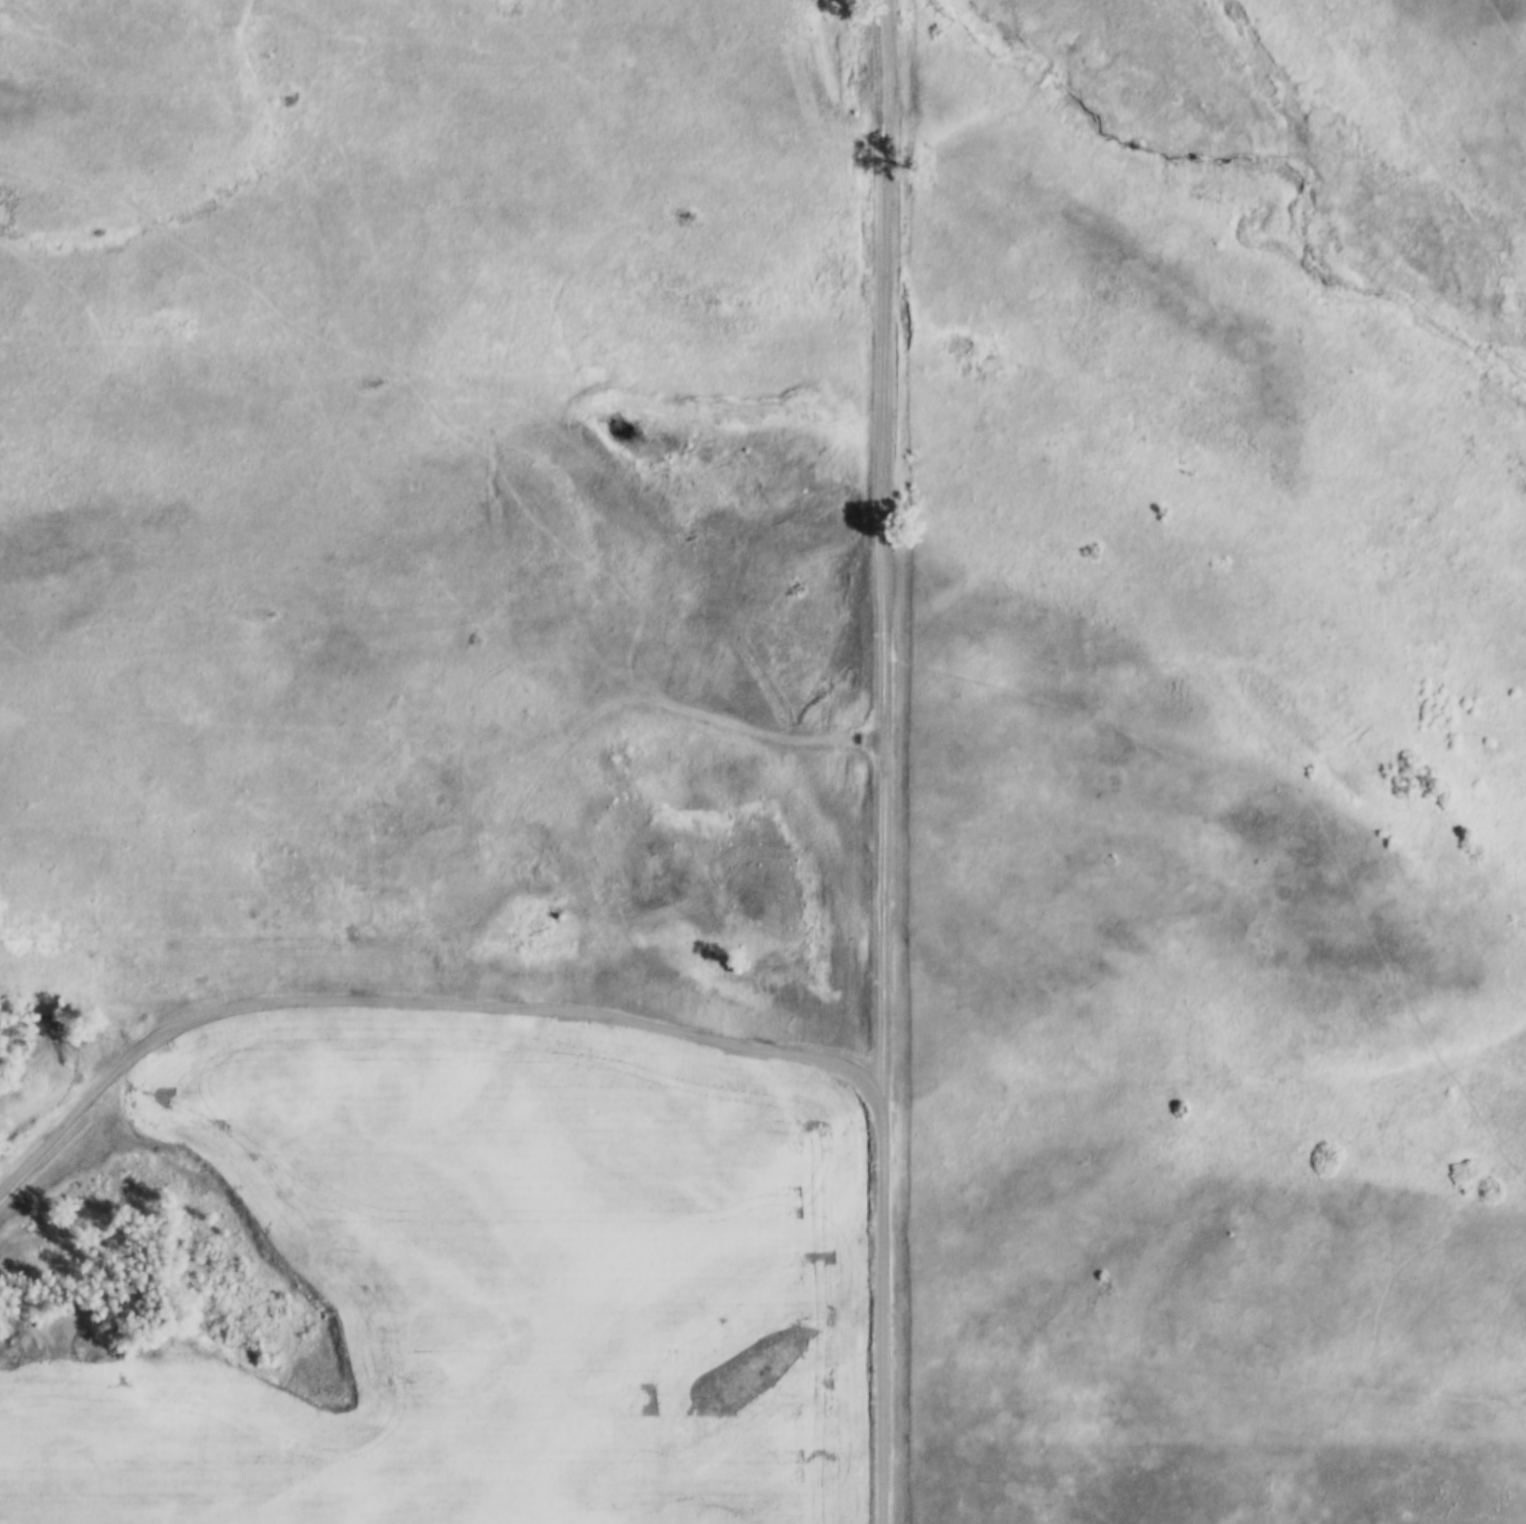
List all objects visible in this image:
river: (1240, 188)
road: (959, 336)
road: (881, 551)
road: (756, 734)
road: (416, 1000)
quarry: (51, 1154)
road: (881, 1313)

